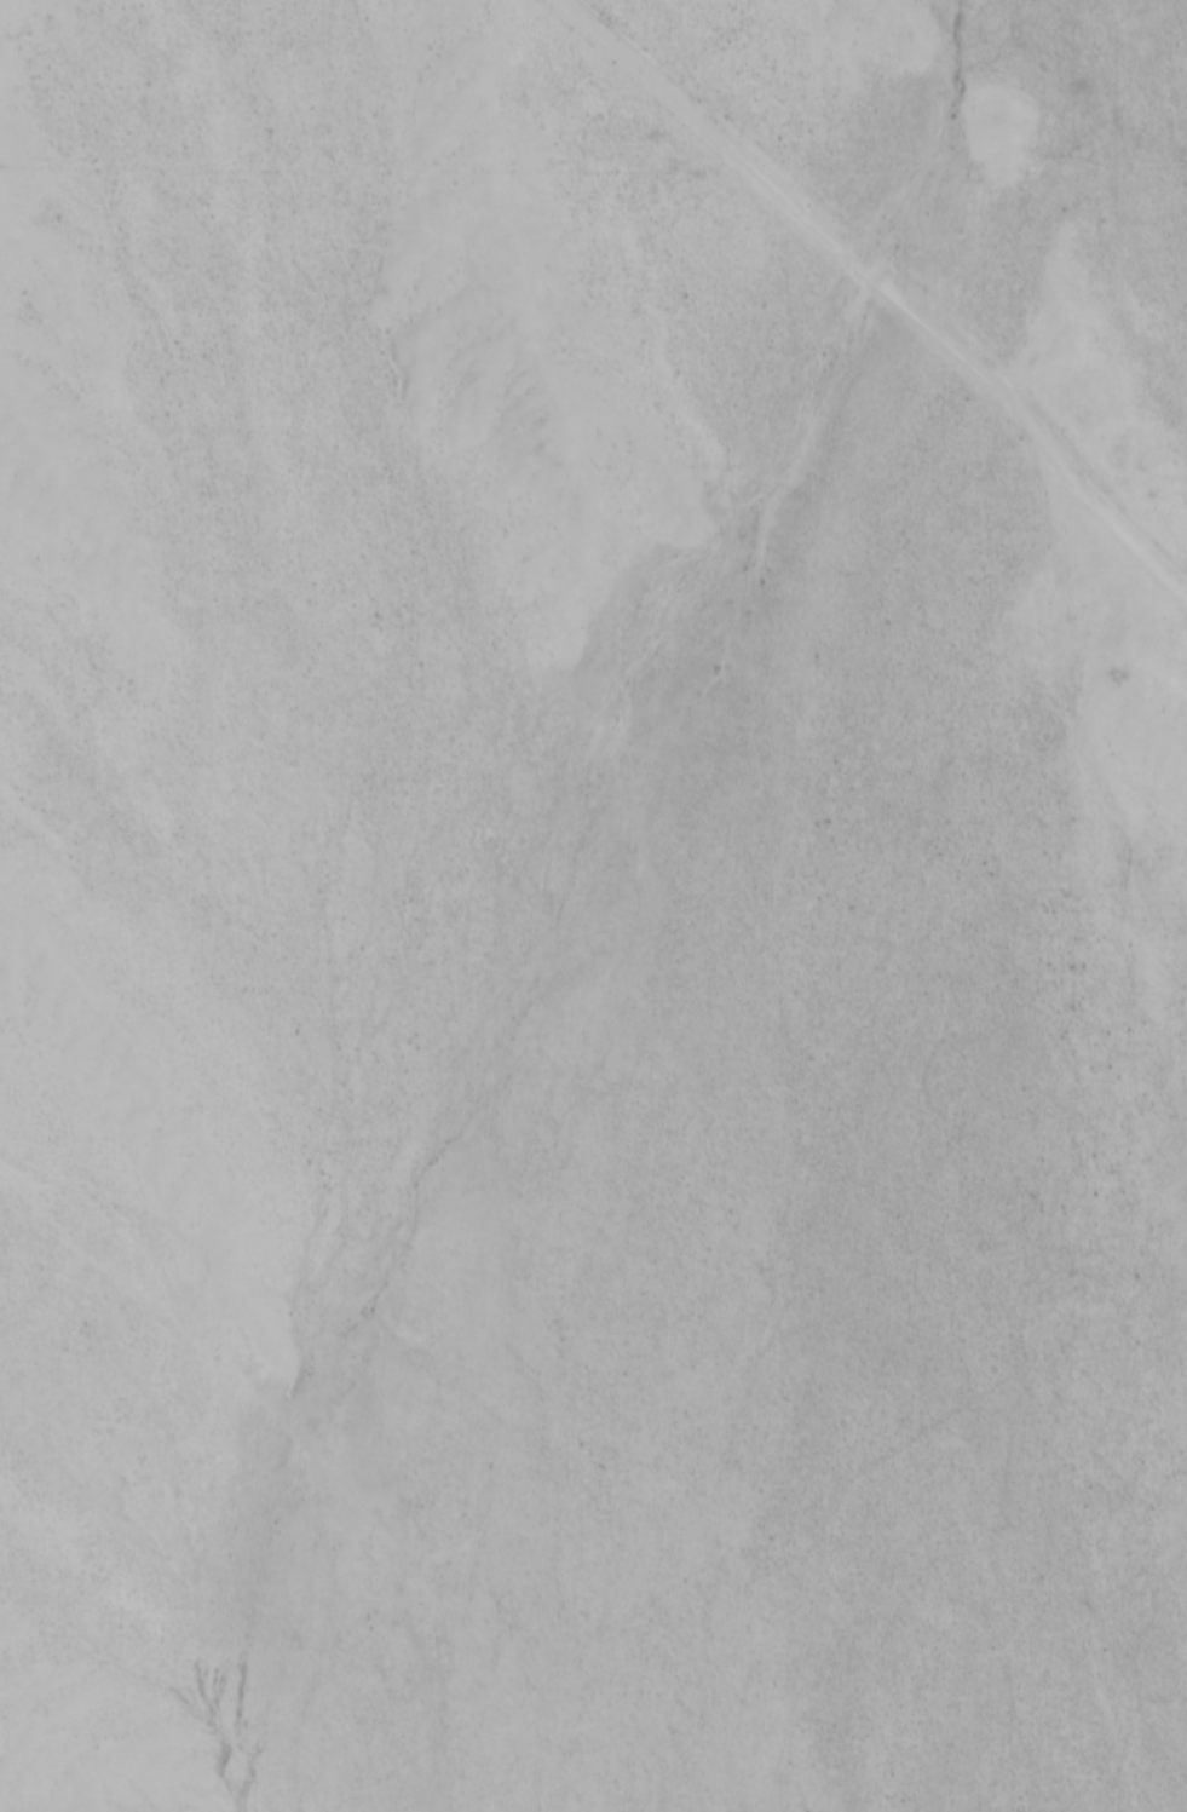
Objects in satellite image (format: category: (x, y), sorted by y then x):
road: (891, 269)

